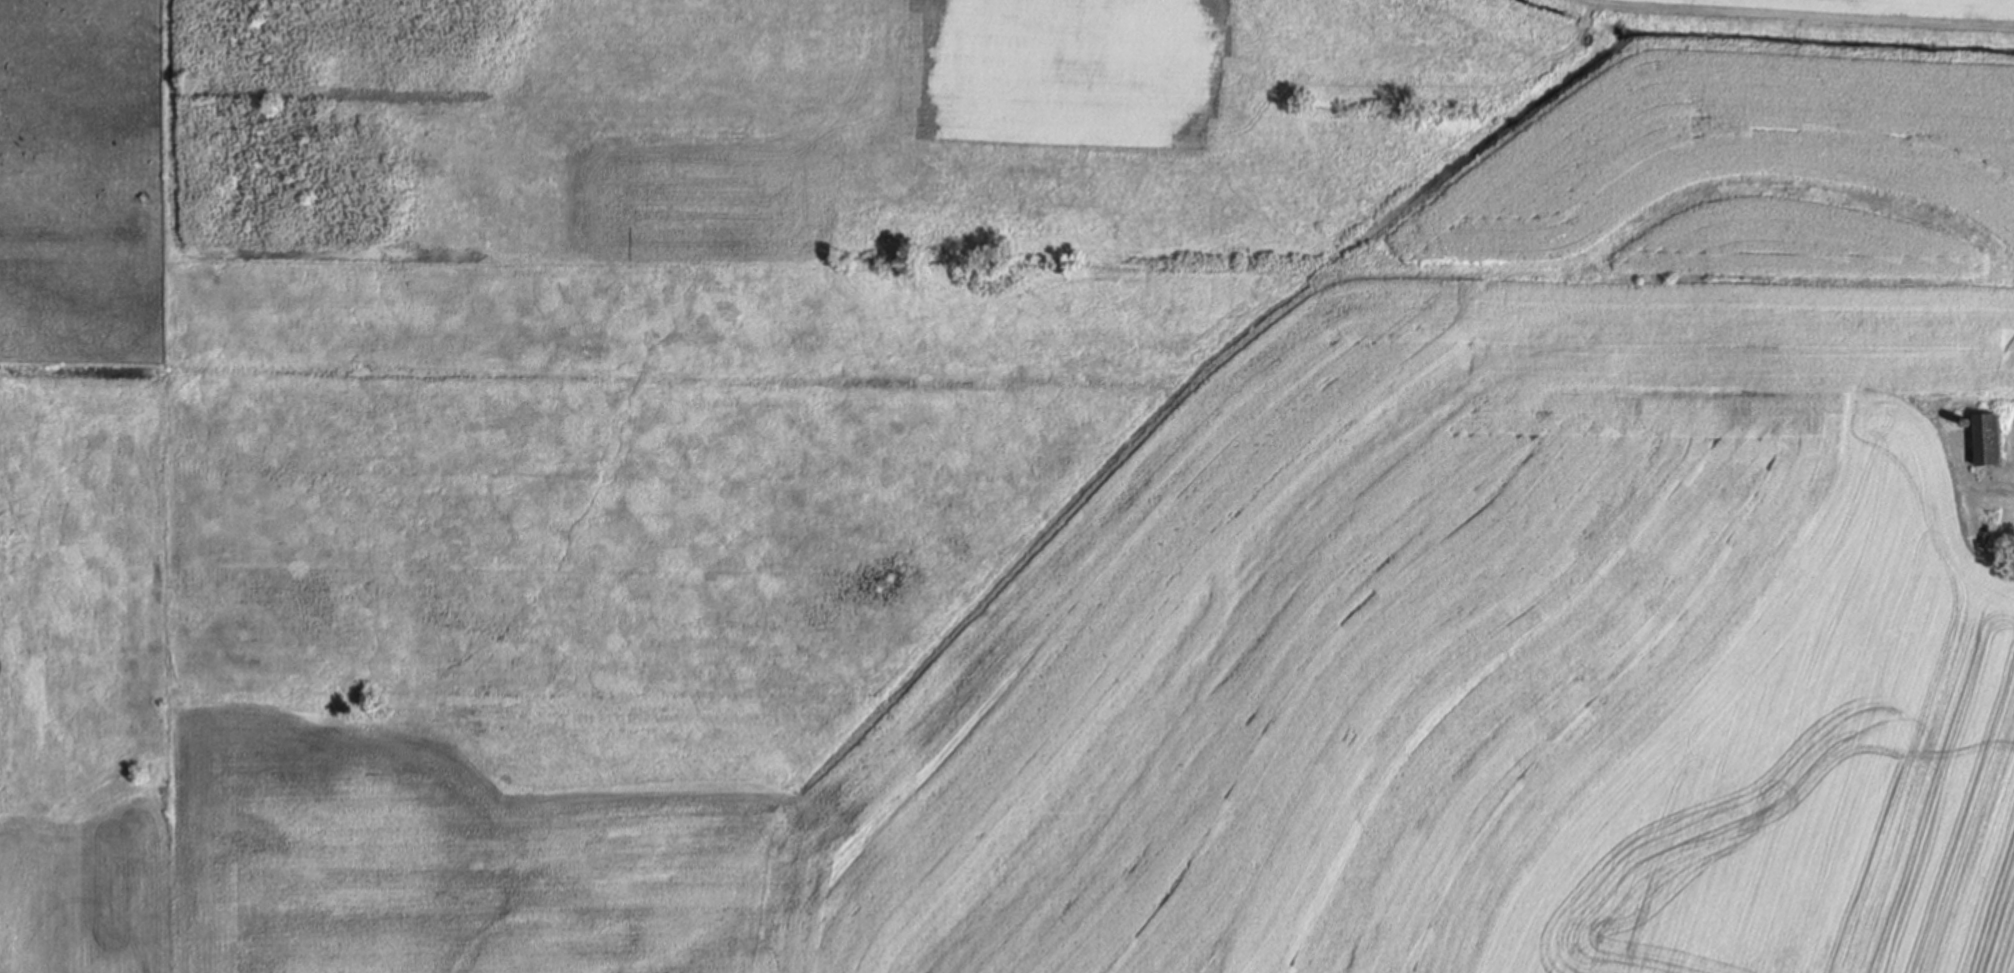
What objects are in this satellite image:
building: (1989, 439)
building: (2006, 525)

